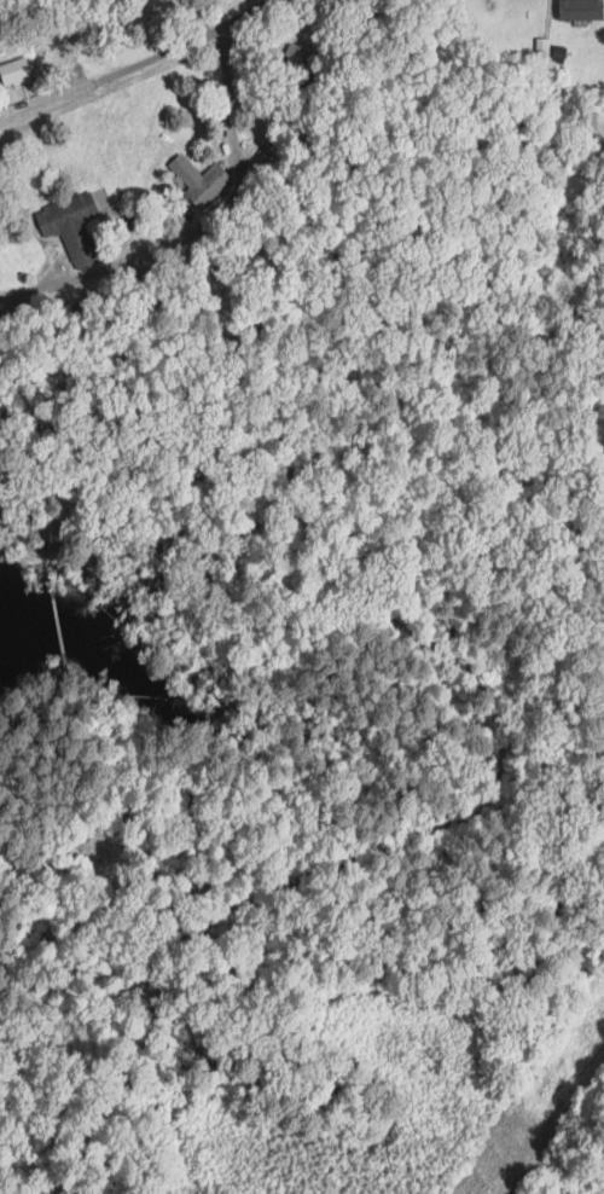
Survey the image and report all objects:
building: (581, 10)
road: (138, 60)
building: (291, 69)
building: (14, 70)
building: (199, 179)
building: (71, 226)
road: (47, 289)
road: (396, 621)
building: (69, 863)
building: (141, 996)

